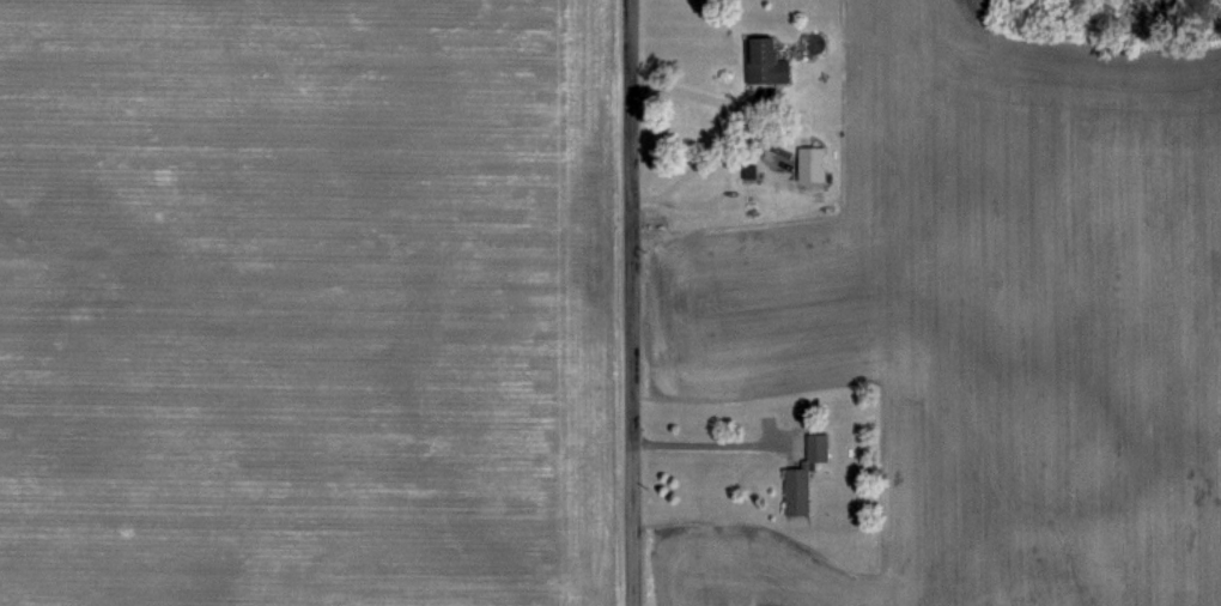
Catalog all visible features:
building: (761, 61)
road: (687, 91)
building: (808, 162)
road: (626, 302)
road: (703, 442)
building: (802, 474)

